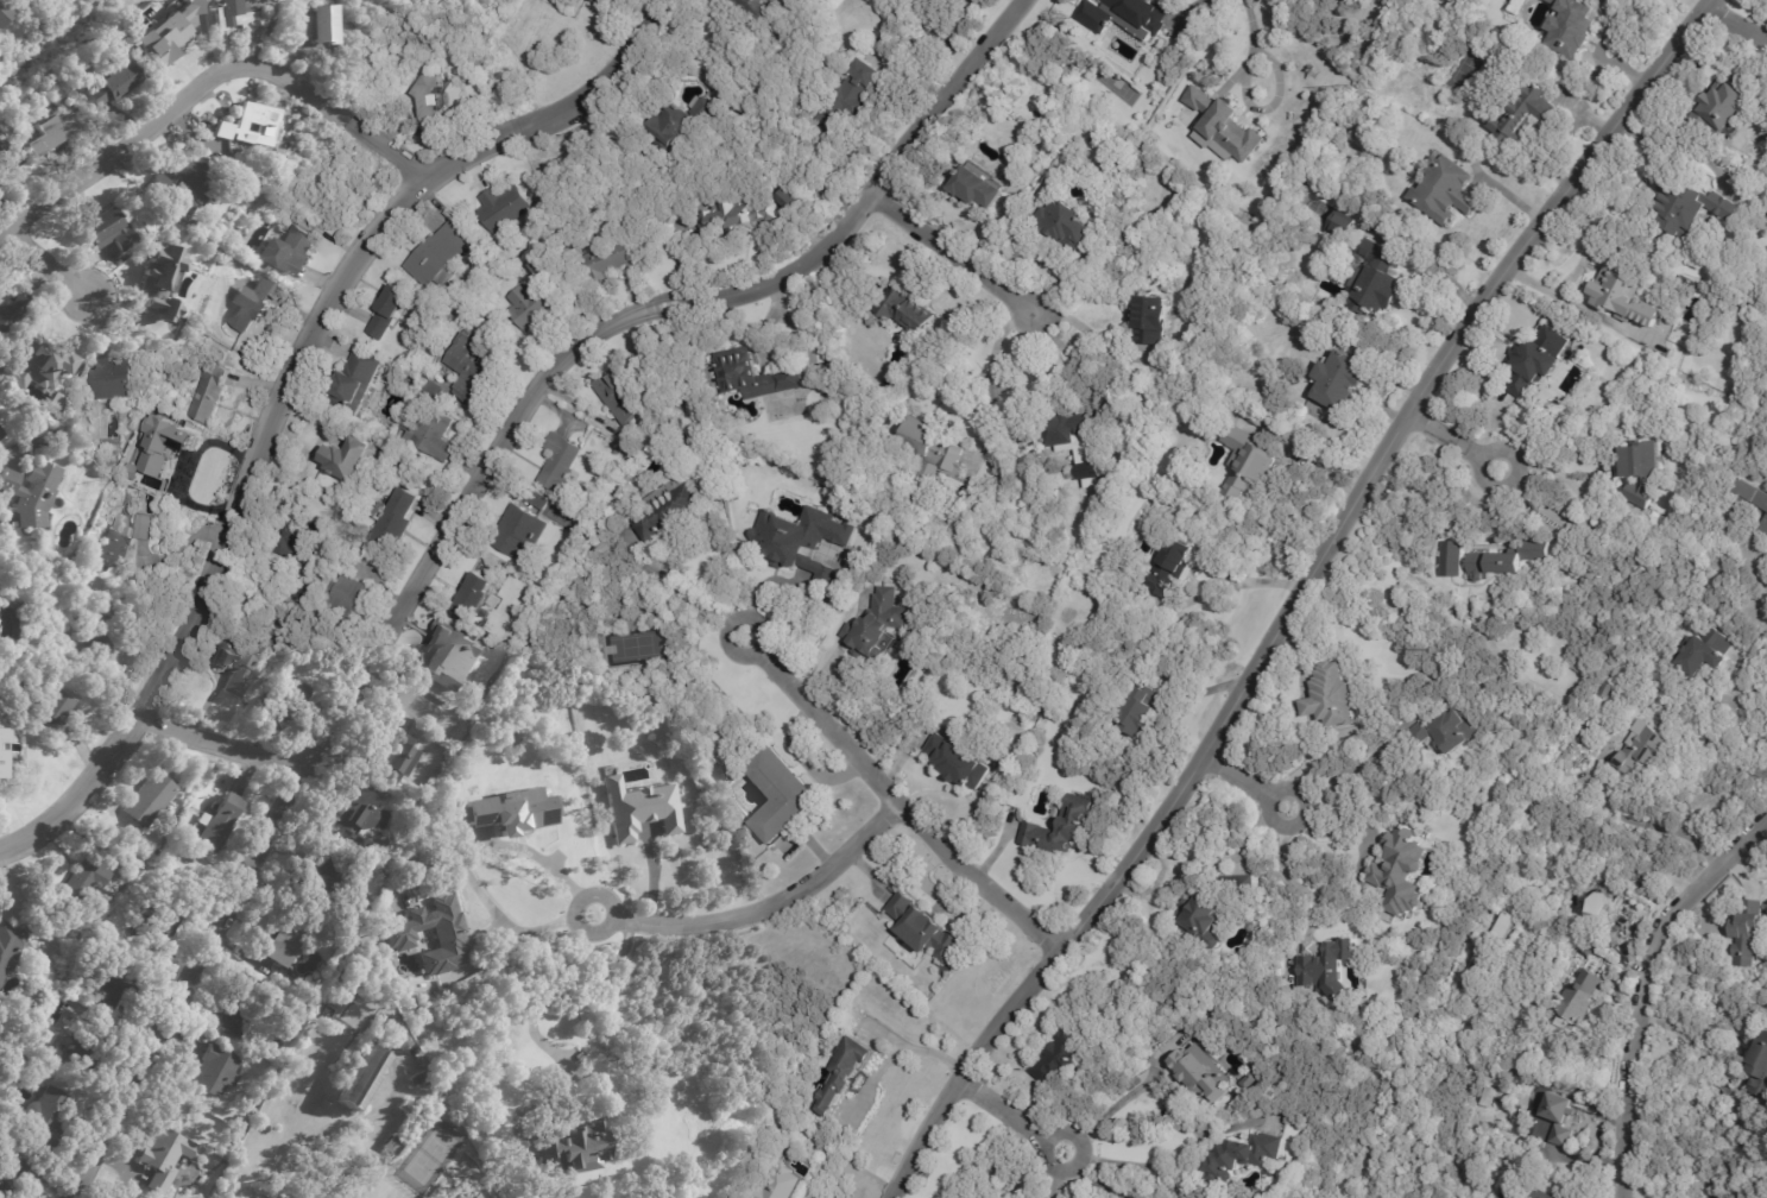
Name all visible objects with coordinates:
road: (1288, 0)
building: (599, 2)
building: (750, 7)
building: (1143, 14)
building: (236, 15)
building: (2, 17)
road: (1736, 21)
building: (303, 27)
building: (323, 27)
building: (1574, 29)
road: (1254, 44)
building: (166, 49)
building: (96, 59)
road: (207, 80)
building: (114, 88)
building: (854, 90)
building: (429, 102)
building: (1730, 107)
building: (1525, 116)
building: (825, 122)
building: (677, 126)
building: (1224, 126)
building: (251, 127)
building: (62, 131)
building: (7, 160)
building: (191, 185)
building: (978, 187)
building: (1445, 190)
building: (785, 201)
building: (1693, 208)
building: (503, 209)
building: (731, 217)
building: (1066, 222)
building: (1339, 225)
building: (109, 232)
building: (284, 252)
building: (1377, 252)
building: (438, 256)
road: (953, 256)
road: (44, 261)
building: (606, 263)
building: (156, 282)
building: (1378, 290)
building: (1623, 295)
building: (536, 297)
building: (253, 305)
building: (12, 310)
building: (387, 311)
building: (910, 314)
building: (474, 316)
building: (1151, 319)
road: (1090, 333)
building: (42, 362)
building: (1535, 367)
building: (473, 373)
building: (753, 374)
building: (1345, 379)
building: (114, 380)
road: (991, 380)
building: (354, 382)
road: (288, 383)
building: (431, 389)
building: (618, 393)
building: (209, 396)
building: (1071, 428)
building: (430, 431)
building: (1, 434)
building: (379, 441)
road: (1453, 442)
building: (934, 449)
building: (163, 456)
building: (349, 458)
building: (560, 461)
building: (1249, 462)
road: (1550, 466)
building: (1640, 471)
building: (176, 487)
building: (33, 493)
building: (1748, 498)
building: (538, 500)
road: (459, 509)
building: (670, 509)
building: (393, 519)
building: (1765, 527)
building: (518, 531)
building: (124, 540)
building: (801, 541)
building: (297, 544)
building: (966, 549)
building: (1504, 560)
building: (1174, 562)
road: (1748, 572)
road: (1242, 582)
building: (989, 593)
road: (705, 594)
building: (474, 595)
building: (346, 597)
road: (1299, 598)
building: (13, 604)
building: (639, 624)
building: (878, 626)
building: (99, 637)
building: (1704, 652)
building: (437, 655)
building: (235, 669)
building: (1607, 691)
road: (1735, 694)
building: (1336, 696)
building: (290, 701)
road: (414, 707)
building: (56, 708)
building: (1138, 711)
building: (1444, 733)
road: (216, 749)
building: (7, 751)
building: (1643, 751)
building: (397, 755)
building: (960, 762)
road: (1346, 770)
road: (1247, 781)
building: (783, 796)
building: (149, 800)
road: (896, 801)
building: (635, 808)
building: (507, 809)
building: (362, 821)
building: (220, 825)
building: (1062, 827)
road: (1280, 872)
building: (1401, 872)
building: (89, 881)
building: (318, 881)
building: (1239, 888)
building: (1598, 903)
road: (764, 906)
building: (1205, 919)
road: (519, 925)
building: (924, 928)
building: (160, 932)
building: (1744, 933)
building: (400, 938)
building: (288, 939)
building: (1491, 939)
building: (10, 946)
building: (1326, 967)
building: (354, 975)
road: (1646, 981)
building: (115, 986)
road: (562, 986)
building: (1583, 998)
building: (241, 1007)
building: (301, 1007)
building: (1507, 1019)
building: (1522, 1032)
building: (395, 1034)
road: (1691, 1047)
building: (83, 1055)
building: (1062, 1055)
building: (1757, 1067)
building: (219, 1072)
building: (846, 1076)
building: (1204, 1077)
building: (362, 1079)
building: (1251, 1083)
building: (435, 1085)
building: (1491, 1099)
road: (1106, 1114)
road: (1011, 1115)
building: (45, 1122)
building: (304, 1122)
building: (1554, 1122)
building: (242, 1127)
building: (392, 1149)
building: (575, 1149)
building: (165, 1158)
building: (1243, 1159)
road: (1119, 1162)
road: (1055, 1174)
building: (17, 1179)
road: (1093, 1180)
building: (781, 1183)
building: (473, 1196)

